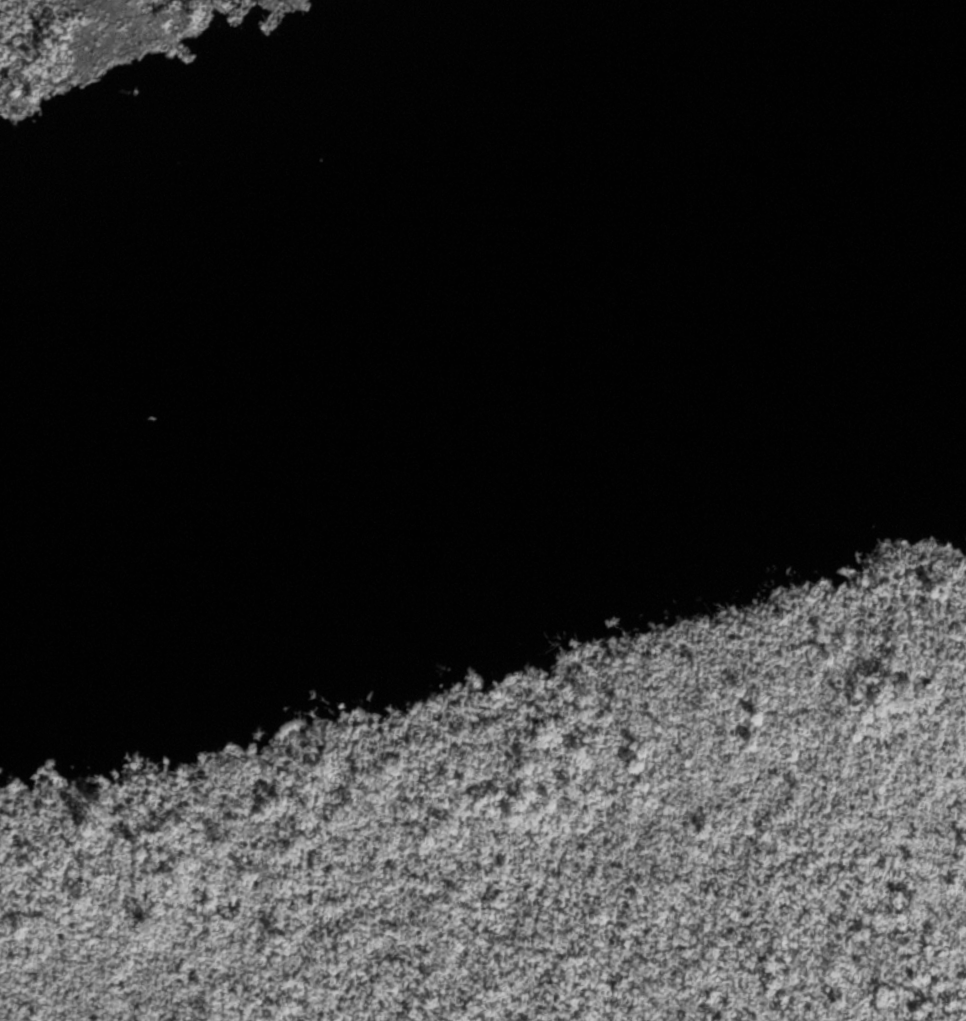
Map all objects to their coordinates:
river: (472, 293)

